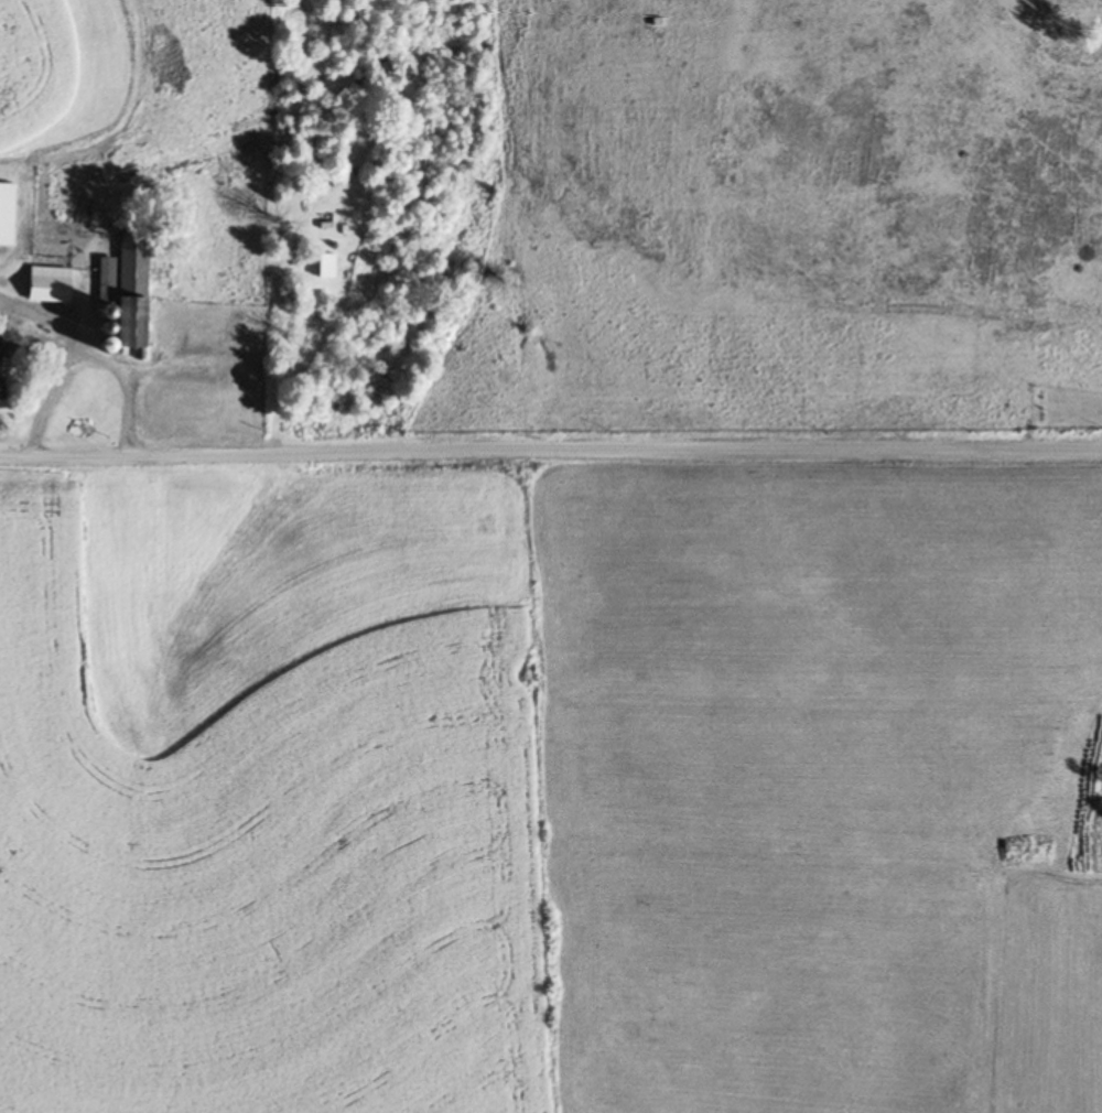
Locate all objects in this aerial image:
crop: (61, 74)
building: (3, 214)
building: (108, 279)
building: (15, 281)
building: (46, 285)
building: (134, 298)
silo: (105, 310)
road: (48, 322)
silo: (107, 327)
silo: (107, 346)
road: (83, 359)
building: (2, 371)
park: (1062, 406)
road: (550, 449)

